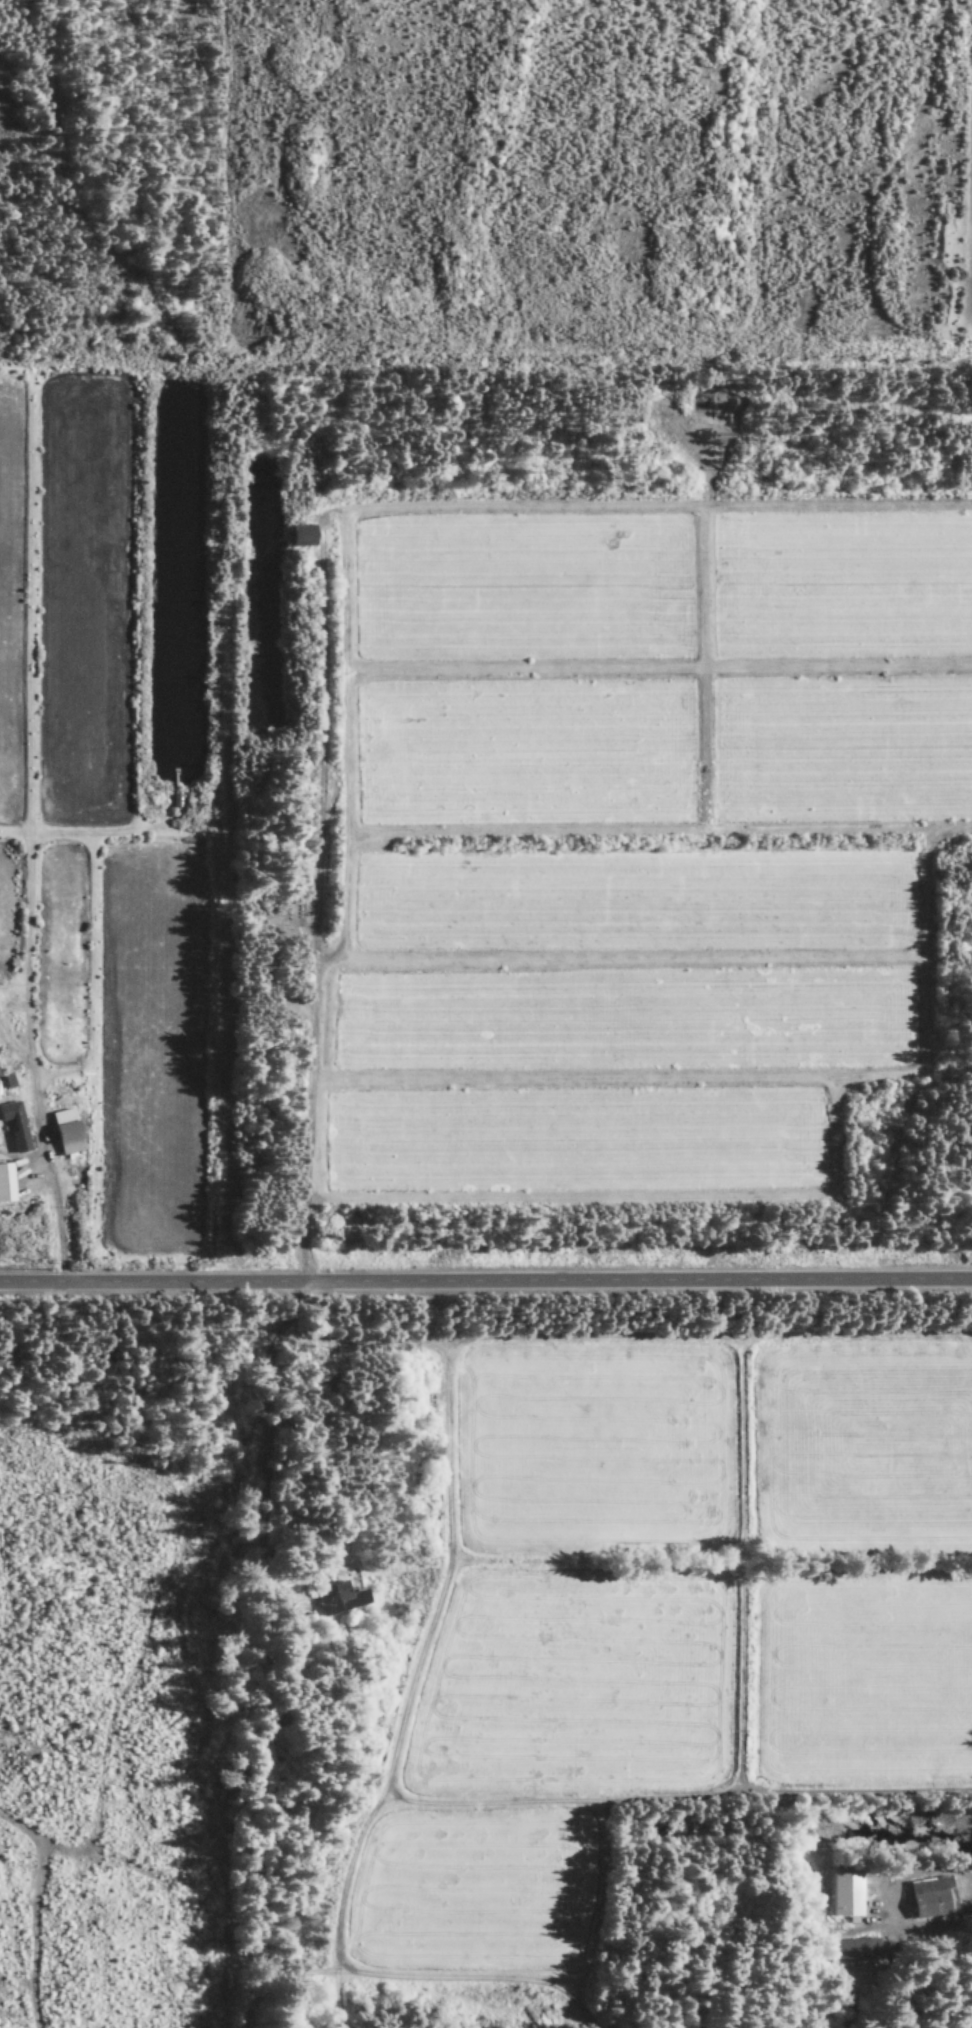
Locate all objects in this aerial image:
airport: (104, 186)
building: (299, 536)
crop: (842, 587)
crop: (522, 590)
crop: (10, 597)
crop: (85, 603)
crop: (663, 754)
crop: (638, 901)
crop: (7, 916)
crop: (59, 960)
crop: (628, 1022)
crop: (151, 1051)
building: (14, 1127)
building: (63, 1133)
crop: (571, 1141)
building: (4, 1185)
road: (50, 1190)
road: (485, 1280)
crop: (865, 1447)
crop: (594, 1449)
building: (340, 1602)
crop: (864, 1683)
crop: (574, 1689)
crop: (472, 1894)
building: (844, 1896)
building: (928, 1897)
building: (853, 1951)

